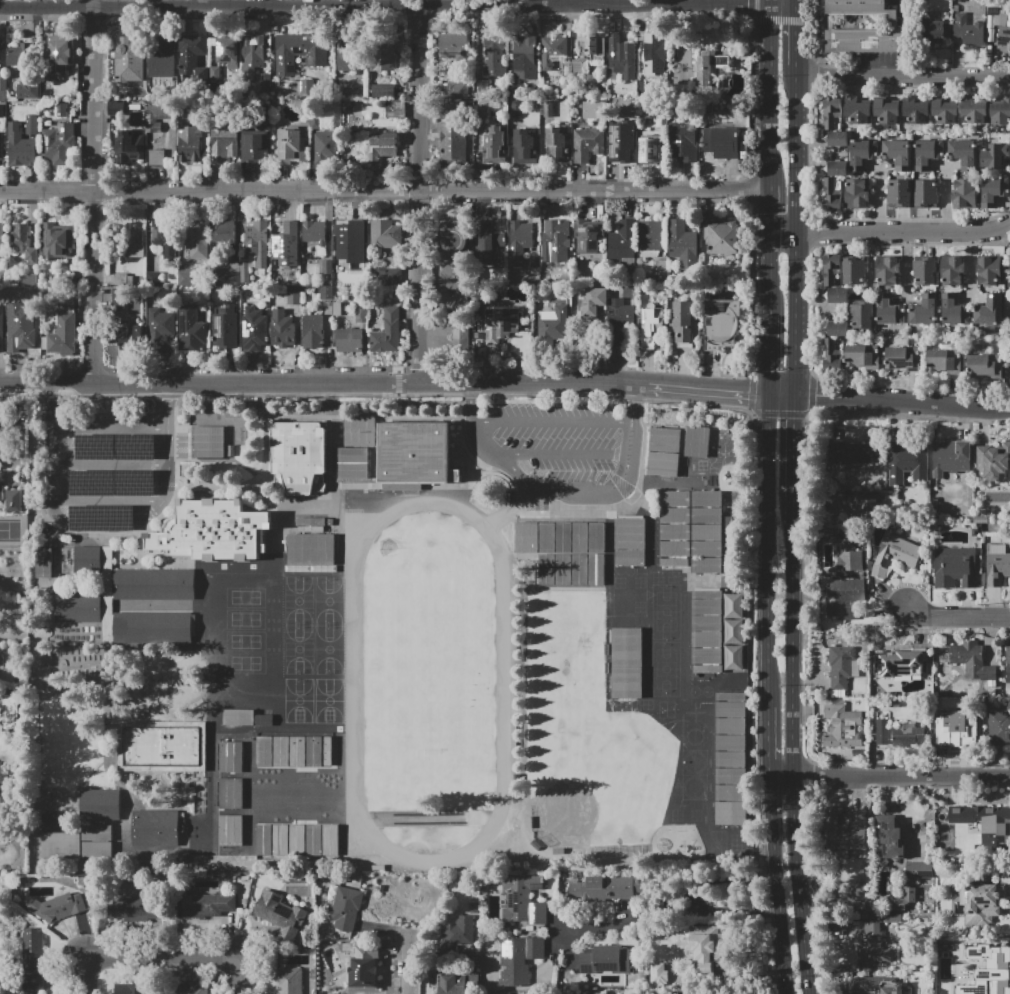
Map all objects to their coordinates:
road: (275, 2)
road: (398, 2)
road: (658, 2)
road: (769, 2)
road: (908, 3)
road: (387, 5)
building: (997, 9)
road: (796, 11)
building: (864, 29)
building: (968, 30)
building: (937, 31)
building: (1004, 35)
road: (796, 43)
building: (590, 45)
building: (454, 46)
building: (228, 50)
building: (300, 51)
building: (553, 51)
building: (656, 53)
building: (19, 54)
building: (381, 54)
building: (59, 55)
building: (194, 57)
building: (162, 58)
building: (494, 58)
building: (620, 58)
building: (128, 59)
building: (256, 59)
building: (348, 59)
building: (525, 59)
road: (903, 76)
building: (3, 88)
building: (383, 89)
building: (29, 90)
building: (458, 90)
road: (769, 94)
building: (114, 107)
building: (395, 108)
building: (449, 109)
building: (592, 109)
building: (946, 109)
building: (974, 109)
building: (62, 110)
building: (858, 110)
building: (887, 110)
building: (915, 110)
building: (2, 111)
building: (831, 111)
building: (1000, 113)
building: (838, 139)
building: (188, 140)
building: (451, 141)
building: (721, 141)
building: (684, 143)
building: (56, 144)
building: (127, 144)
building: (224, 144)
building: (588, 144)
building: (26, 145)
building: (495, 145)
building: (616, 145)
building: (255, 146)
building: (289, 146)
building: (325, 146)
building: (557, 146)
building: (382, 147)
building: (524, 147)
building: (1, 149)
road: (796, 149)
building: (649, 150)
building: (898, 153)
building: (928, 153)
building: (963, 153)
building: (862, 154)
building: (155, 156)
building: (994, 157)
building: (838, 169)
building: (993, 189)
road: (385, 190)
road: (98, 192)
road: (420, 192)
building: (900, 193)
building: (965, 193)
building: (857, 194)
building: (925, 194)
building: (830, 195)
road: (771, 209)
road: (996, 228)
building: (312, 231)
building: (223, 232)
road: (890, 233)
building: (385, 234)
road: (784, 234)
building: (1, 235)
building: (589, 236)
building: (164, 237)
building: (721, 238)
building: (196, 239)
building: (454, 239)
building: (650, 239)
building: (354, 241)
building: (487, 242)
building: (519, 242)
building: (57, 243)
building: (24, 244)
building: (135, 244)
building: (285, 244)
building: (624, 244)
building: (555, 245)
building: (683, 245)
building: (255, 251)
building: (337, 256)
building: (327, 267)
building: (888, 270)
building: (951, 270)
building: (989, 270)
building: (853, 271)
building: (926, 271)
road: (771, 272)
building: (227, 275)
building: (454, 276)
building: (395, 277)
building: (189, 278)
building: (27, 279)
building: (154, 279)
building: (833, 279)
building: (123, 280)
building: (326, 292)
building: (292, 294)
building: (117, 298)
building: (460, 301)
building: (590, 302)
building: (888, 310)
building: (925, 310)
building: (953, 310)
building: (989, 310)
building: (359, 314)
building: (621, 314)
road: (798, 314)
building: (854, 320)
building: (721, 323)
building: (500, 324)
building: (553, 324)
building: (684, 324)
building: (652, 325)
building: (225, 328)
building: (2, 329)
building: (160, 329)
building: (282, 329)
building: (254, 330)
building: (389, 330)
building: (191, 331)
building: (63, 332)
building: (313, 332)
building: (26, 333)
building: (129, 335)
building: (349, 340)
road: (771, 352)
building: (832, 356)
building: (861, 356)
building: (903, 358)
building: (944, 362)
building: (985, 366)
traffic signals: (771, 371)
road: (317, 382)
road: (702, 389)
traffic signals: (748, 392)
road: (783, 394)
road: (349, 395)
traffic signals: (816, 397)
road: (475, 399)
road: (633, 402)
road: (902, 403)
road: (168, 405)
road: (370, 417)
traffic signals: (796, 418)
road: (902, 418)
road: (554, 419)
road: (108, 428)
building: (696, 441)
building: (209, 442)
road: (266, 442)
road: (795, 447)
parking lot: (560, 449)
building: (663, 451)
building: (352, 453)
building: (416, 453)
road: (560, 454)
building: (855, 454)
building: (299, 458)
road: (5, 459)
building: (950, 459)
building: (993, 461)
building: (907, 462)
road: (109, 465)
parking lot: (109, 468)
building: (0, 480)
road: (569, 480)
building: (1, 493)
road: (106, 502)
building: (859, 505)
road: (560, 513)
road: (278, 515)
road: (504, 516)
building: (311, 522)
road: (82, 526)
building: (673, 528)
building: (311, 529)
track: (488, 529)
building: (215, 530)
building: (706, 531)
building: (558, 537)
building: (629, 542)
road: (769, 545)
building: (299, 549)
building: (323, 549)
building: (898, 552)
building: (849, 557)
building: (88, 560)
building: (44, 562)
building: (997, 565)
building: (955, 567)
road: (350, 572)
building: (571, 572)
track: (350, 575)
building: (154, 584)
road: (754, 591)
building: (844, 598)
park: (299, 601)
park: (329, 601)
park: (628, 603)
building: (78, 607)
park: (665, 614)
road: (957, 617)
building: (153, 628)
building: (706, 631)
road: (793, 638)
park: (299, 649)
park: (330, 650)
building: (732, 658)
building: (972, 660)
building: (156, 661)
building: (626, 663)
building: (905, 663)
building: (1008, 664)
building: (843, 665)
park: (665, 668)
track: (428, 682)
track: (353, 684)
park: (430, 685)
building: (895, 703)
building: (948, 705)
park: (299, 708)
building: (10, 710)
building: (253, 727)
building: (843, 727)
building: (999, 728)
building: (881, 731)
building: (907, 734)
building: (957, 735)
road: (771, 737)
building: (225, 742)
building: (161, 746)
building: (293, 751)
building: (230, 756)
building: (729, 756)
building: (0, 767)
road: (783, 778)
road: (902, 778)
park: (598, 779)
building: (230, 793)
park: (308, 798)
building: (5, 799)
building: (100, 805)
road: (895, 811)
building: (983, 820)
building: (38, 823)
building: (156, 828)
building: (230, 830)
building: (845, 831)
building: (96, 833)
park: (217, 835)
building: (889, 838)
building: (297, 839)
building: (61, 846)
building: (96, 850)
building: (919, 870)
road: (717, 886)
road: (777, 886)
road: (799, 886)
building: (604, 888)
building: (901, 900)
building: (523, 901)
building: (982, 904)
building: (208, 905)
building: (858, 906)
building: (58, 907)
building: (346, 909)
building: (131, 910)
road: (673, 914)
building: (281, 915)
building: (865, 916)
building: (874, 918)
building: (892, 918)
building: (460, 931)
building: (874, 945)
building: (705, 946)
road: (155, 955)
building: (518, 959)
building: (33, 961)
building: (604, 966)
building: (363, 968)
building: (980, 969)
road: (405, 974)
building: (662, 974)
road: (240, 978)
building: (289, 981)
building: (456, 983)
building: (877, 984)
road: (91, 987)
building: (130, 989)
building: (192, 989)
building: (593, 992)

